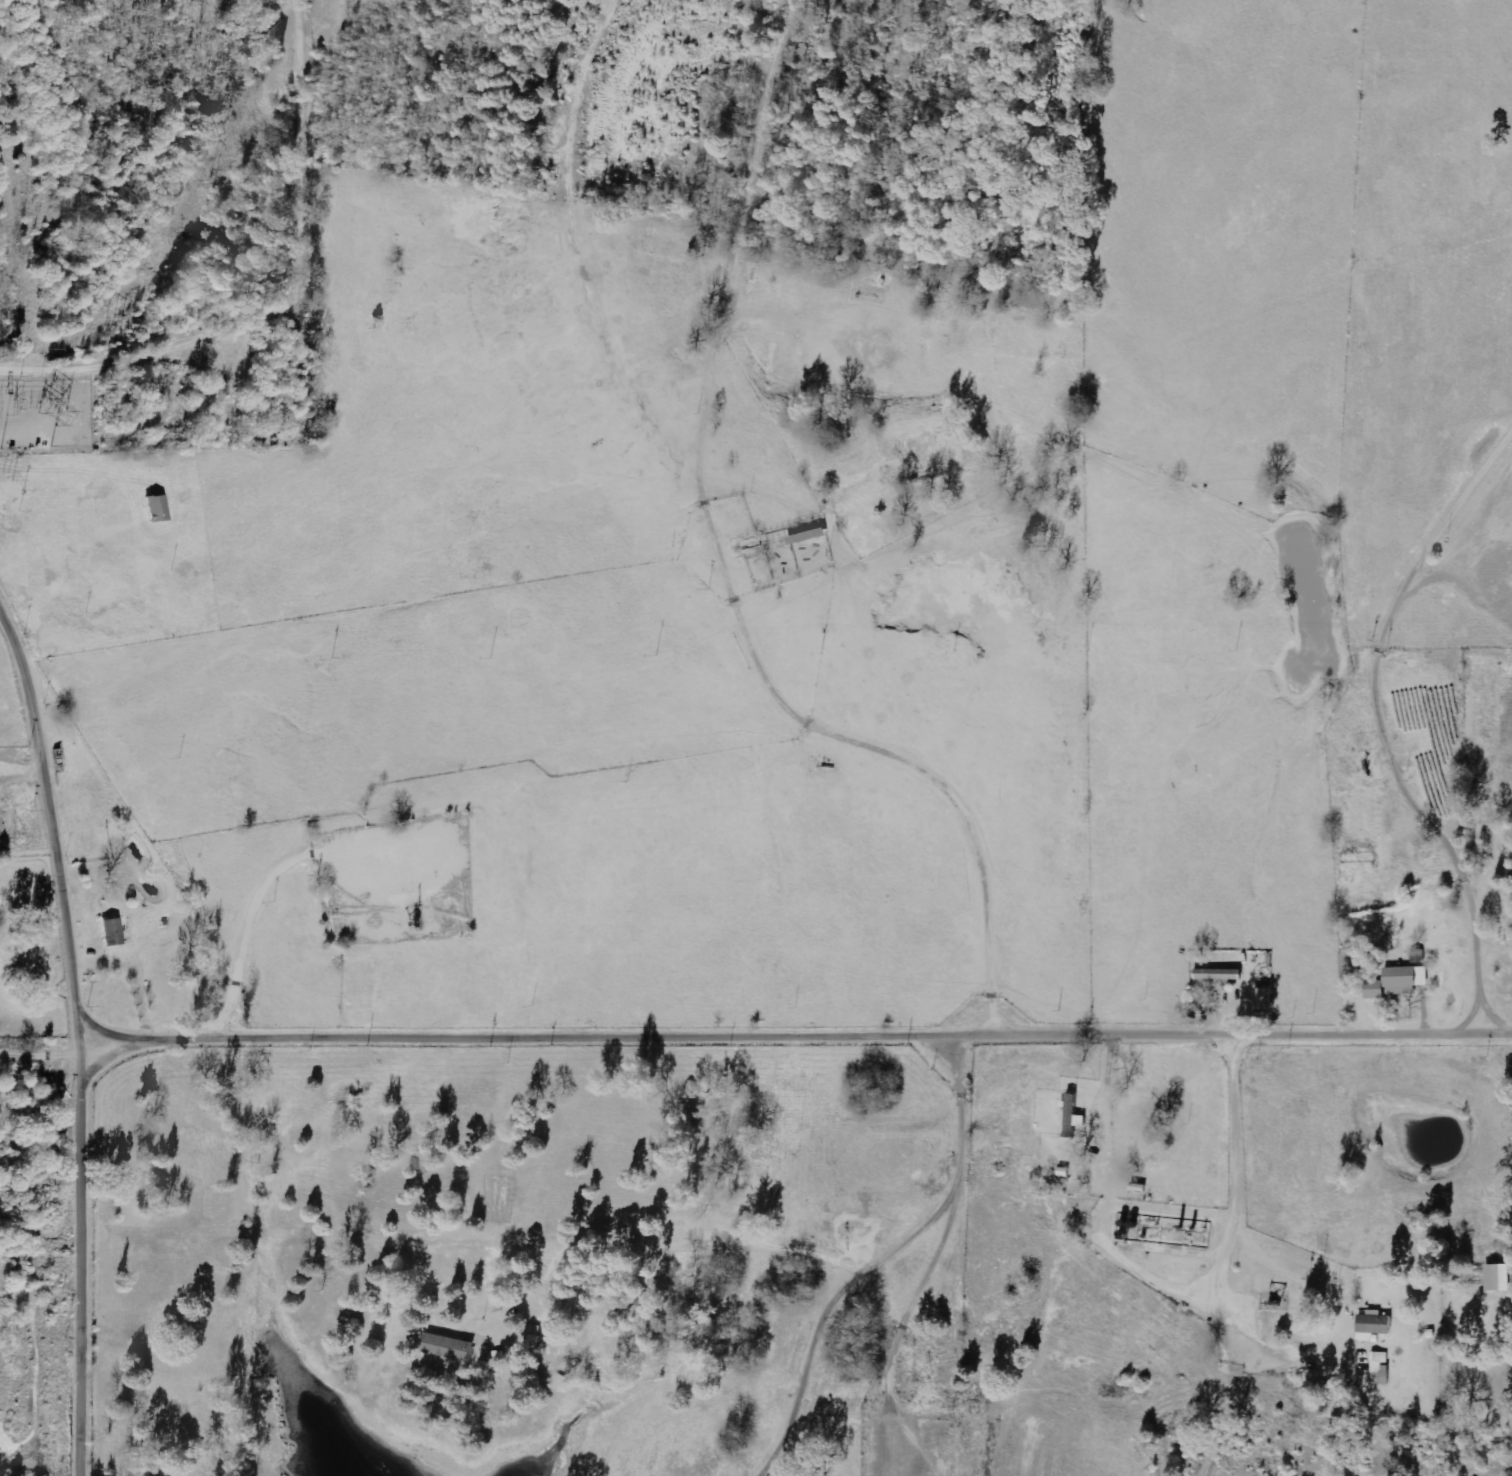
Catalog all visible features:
power tower: (217, 183)
road: (15, 228)
road: (28, 230)
power tower: (62, 403)
power substation: (45, 416)
power tower: (49, 421)
power tower: (11, 476)
road: (55, 808)
building: (112, 932)
building: (1406, 979)
building: (1375, 990)
building: (1264, 999)
road: (800, 1039)
road: (43, 1040)
building: (1073, 1116)
road: (1237, 1249)
road: (91, 1250)
building: (1498, 1278)
building: (1374, 1326)
building: (449, 1347)
building: (1381, 1369)

